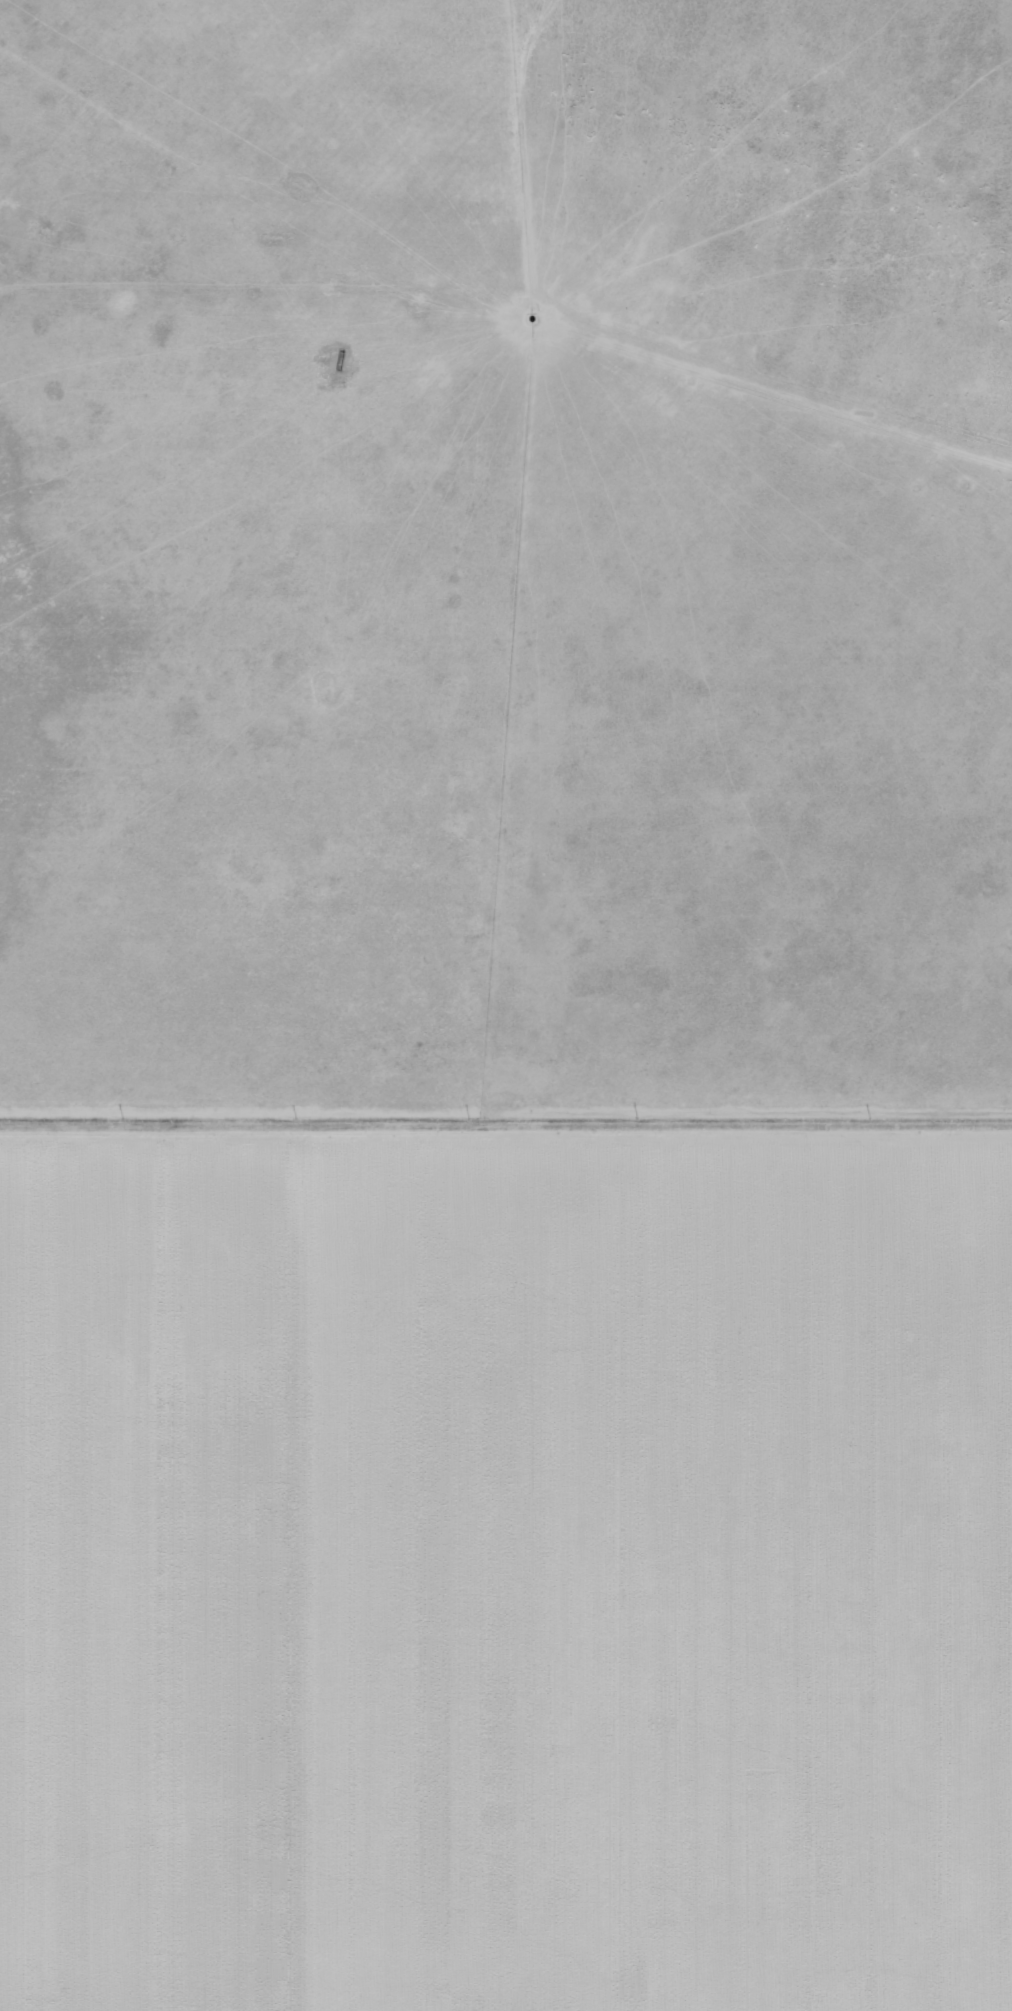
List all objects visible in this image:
road: (505, 1125)

